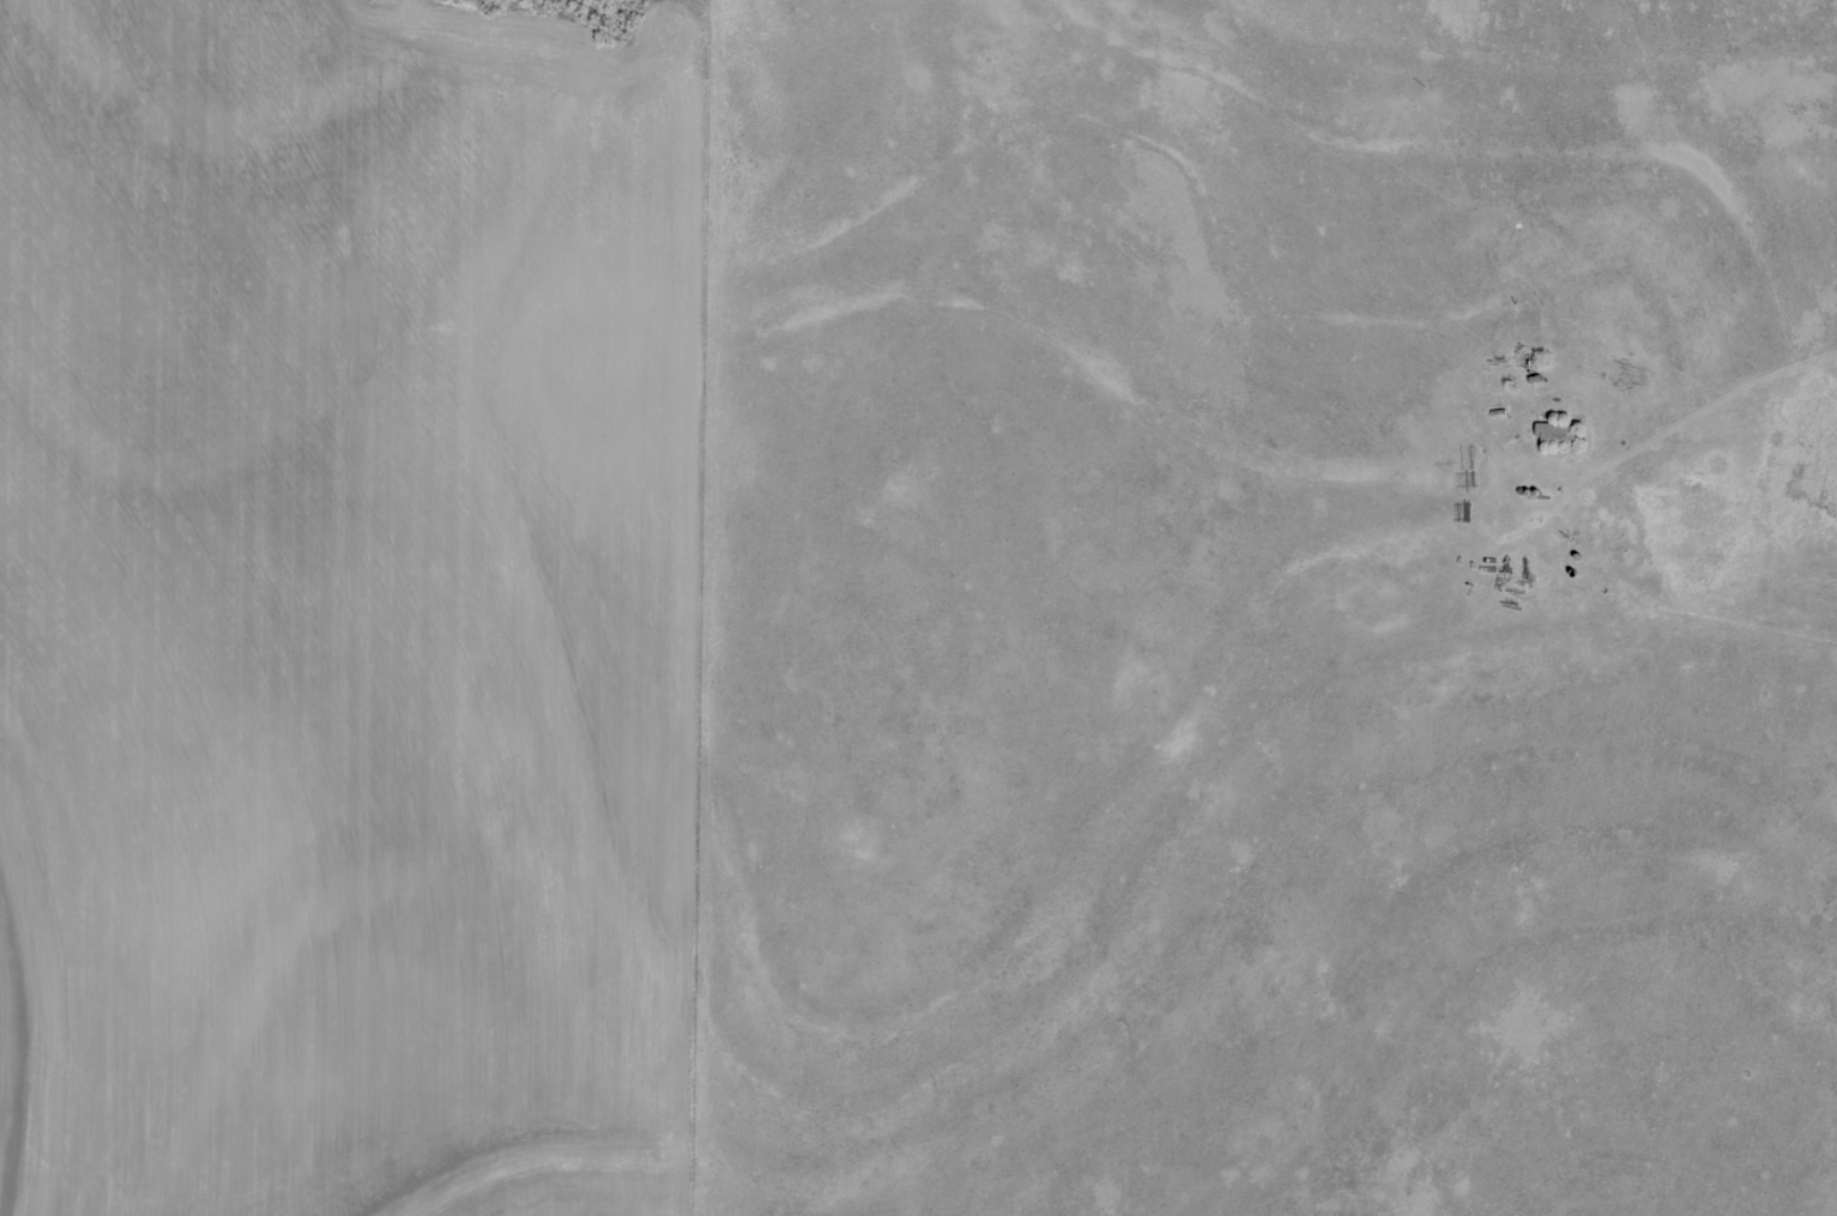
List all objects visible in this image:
road: (1736, 362)

